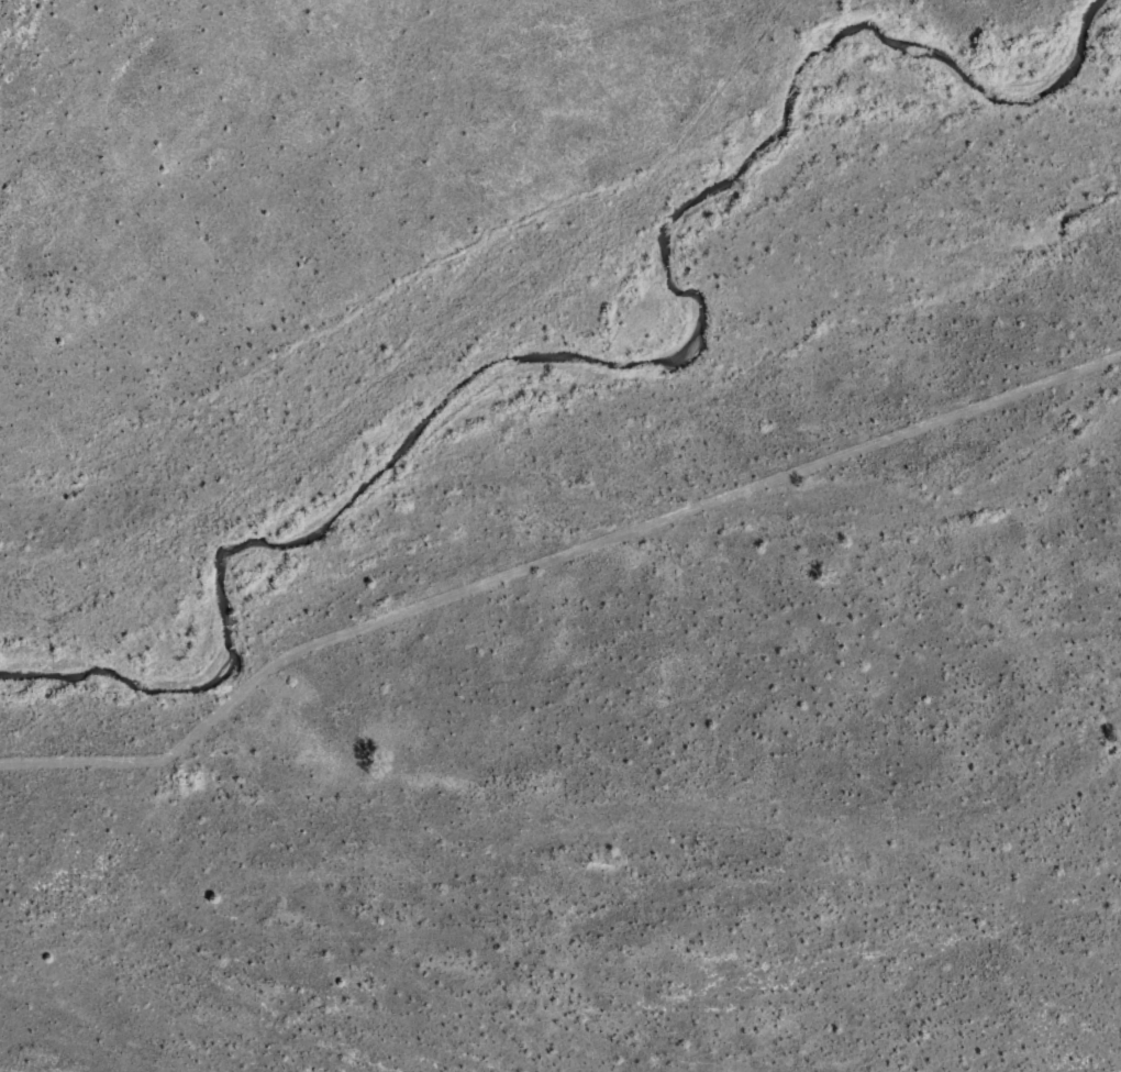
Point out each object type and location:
river: (615, 366)

